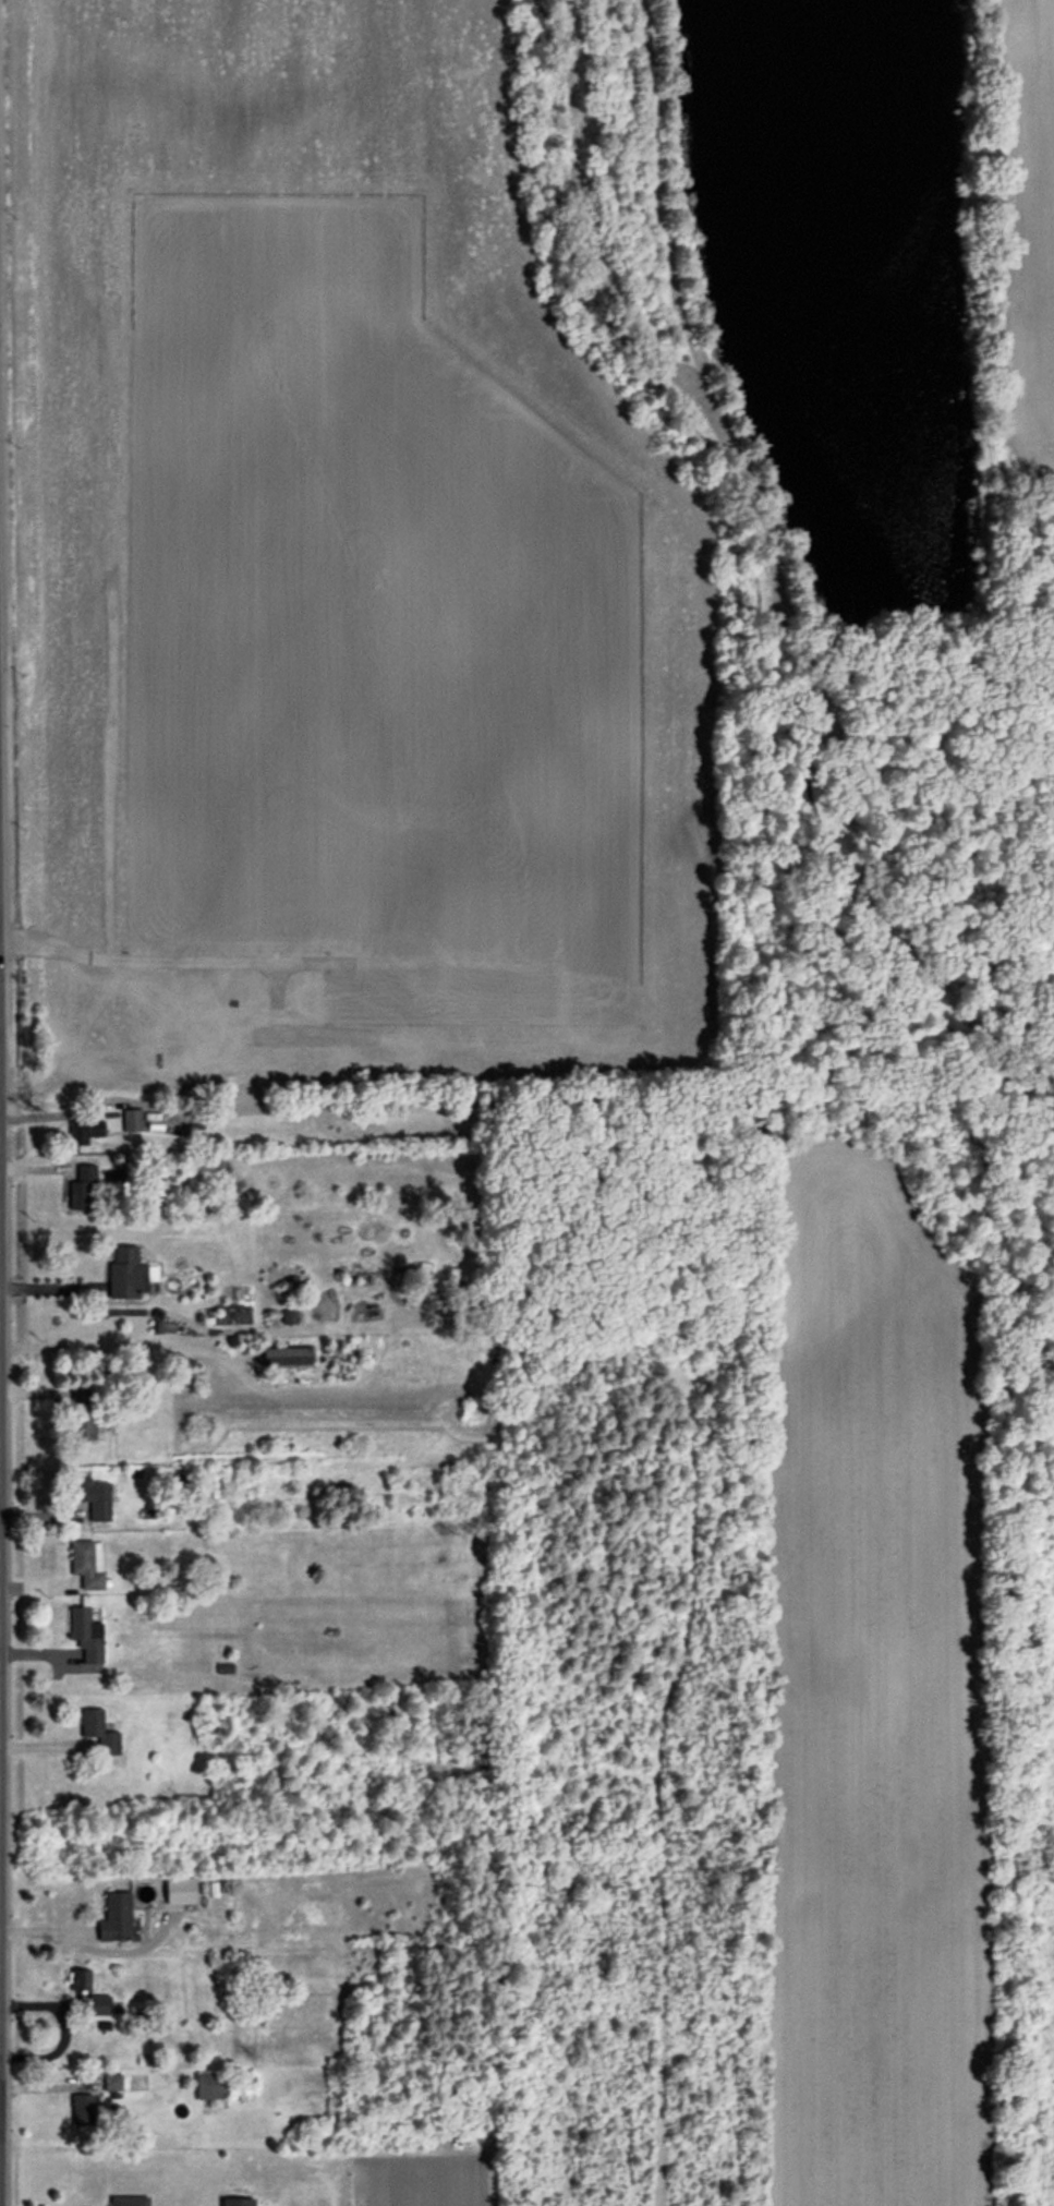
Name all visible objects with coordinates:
road: (54, 1113)
building: (132, 1121)
building: (87, 1133)
building: (82, 1190)
building: (129, 1274)
building: (286, 1358)
building: (83, 1412)
building: (92, 1497)
building: (87, 1564)
building: (86, 1636)
building: (99, 1733)
building: (116, 1918)
building: (80, 1981)
building: (99, 2006)
building: (112, 2083)
building: (210, 2087)
building: (82, 2111)
building: (129, 2201)
building: (238, 2203)

